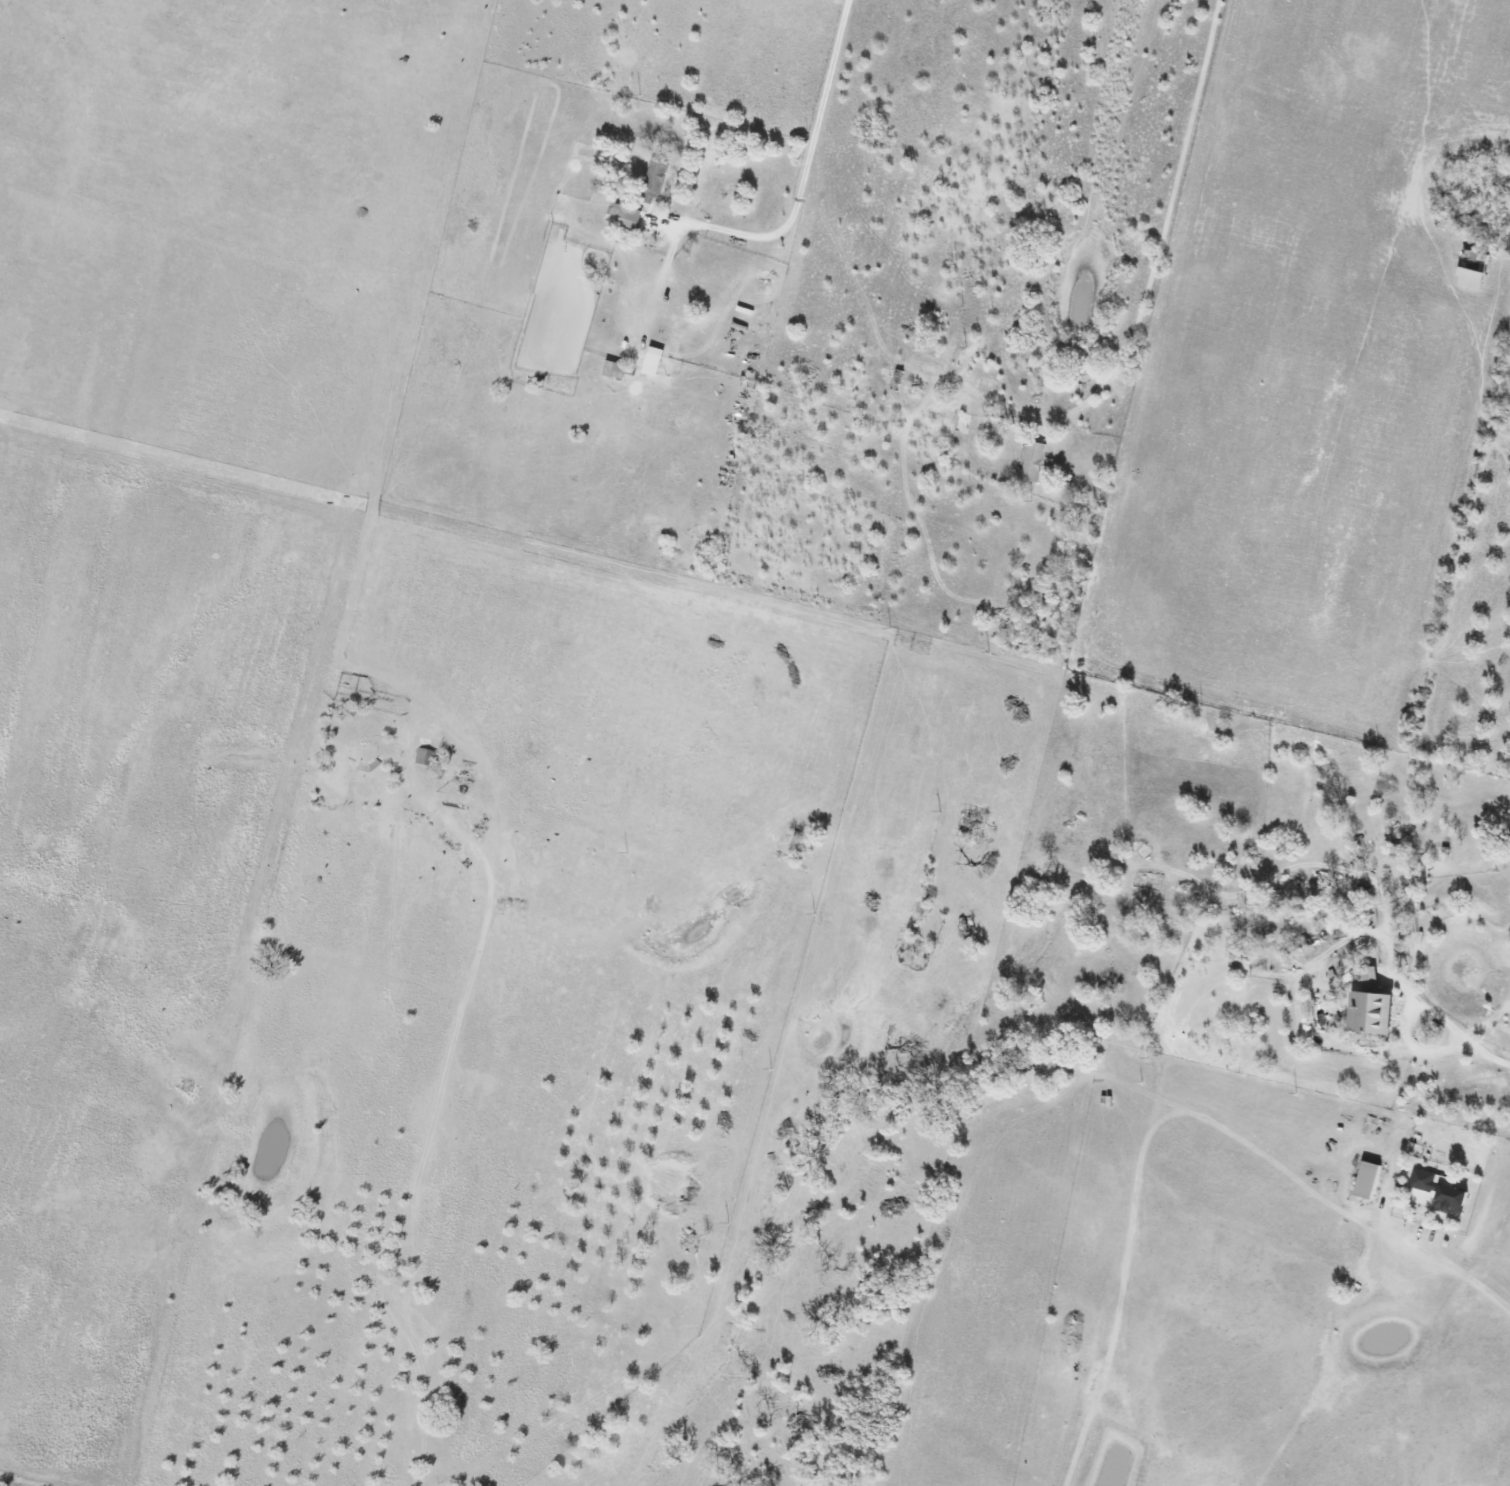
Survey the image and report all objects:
road: (804, 168)
building: (626, 216)
building: (1473, 279)
building: (657, 362)
building: (620, 371)
building: (1035, 462)
building: (422, 756)
building: (1372, 979)
building: (1377, 1015)
road: (1461, 1029)
road: (424, 1146)
building: (1370, 1181)
building: (1440, 1193)
road: (1465, 1270)
road: (24, 1480)

